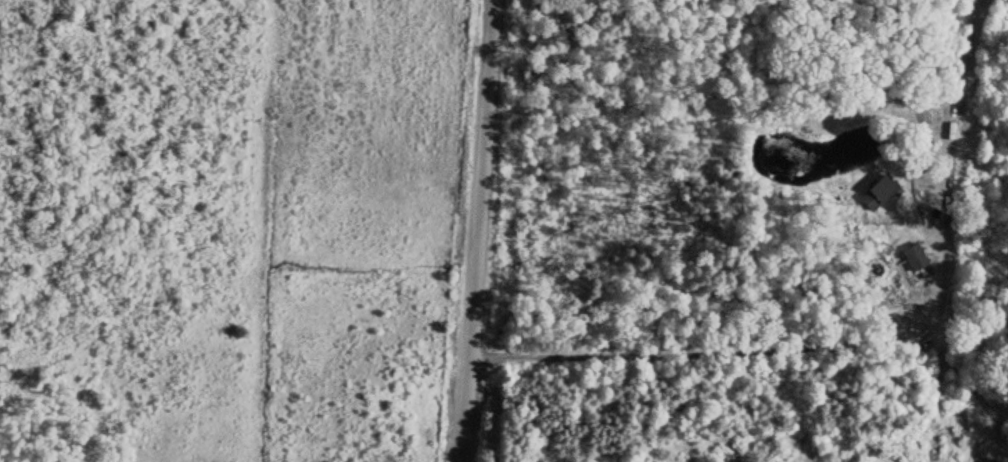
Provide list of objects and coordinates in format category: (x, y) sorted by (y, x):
building: (879, 189)
road: (471, 230)

